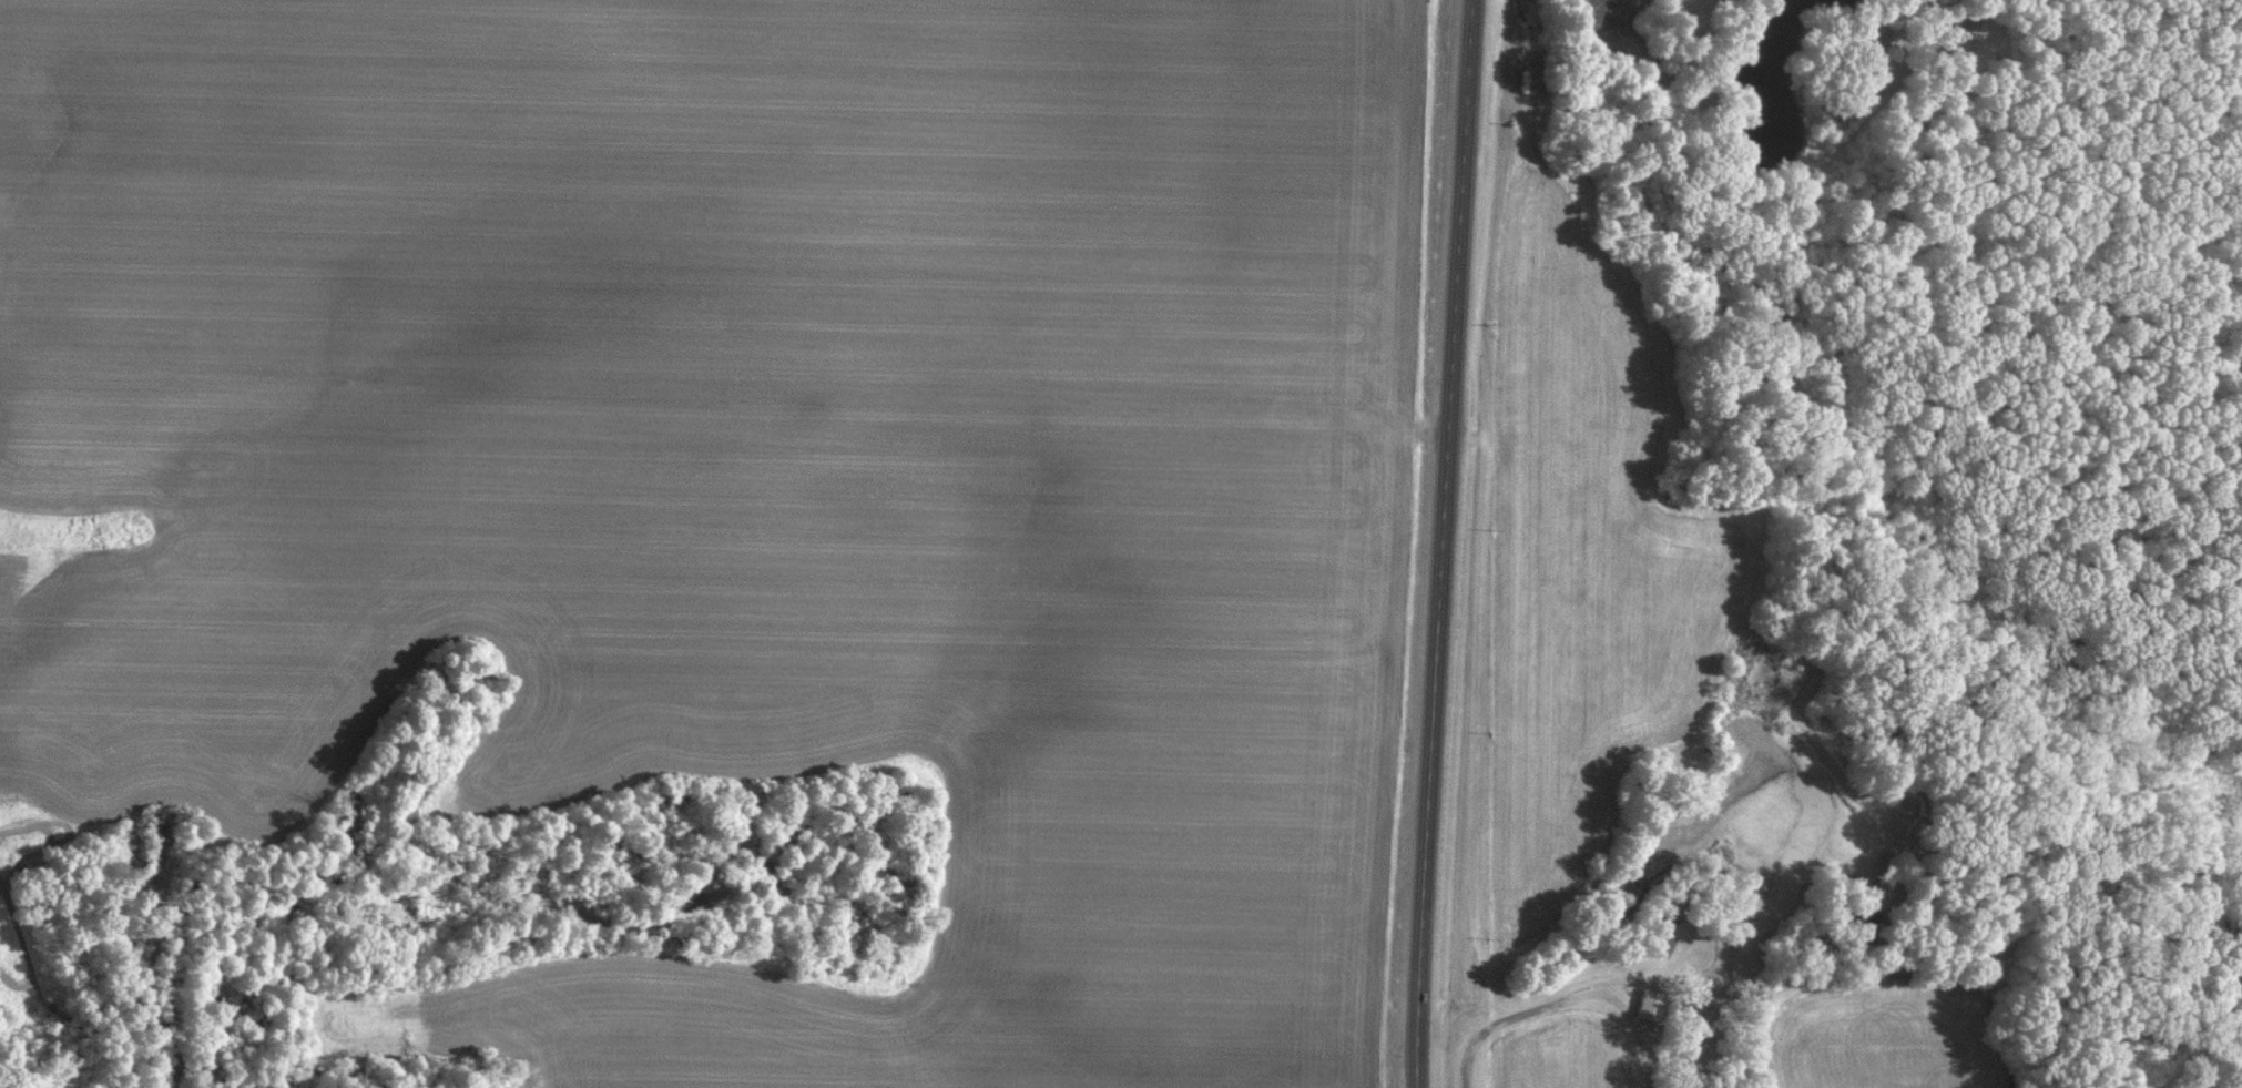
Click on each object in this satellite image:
building: (1961, 19)
building: (1878, 43)
road: (1443, 543)
building: (1664, 940)
road: (1881, 979)
road: (1567, 999)
building: (1650, 1003)

